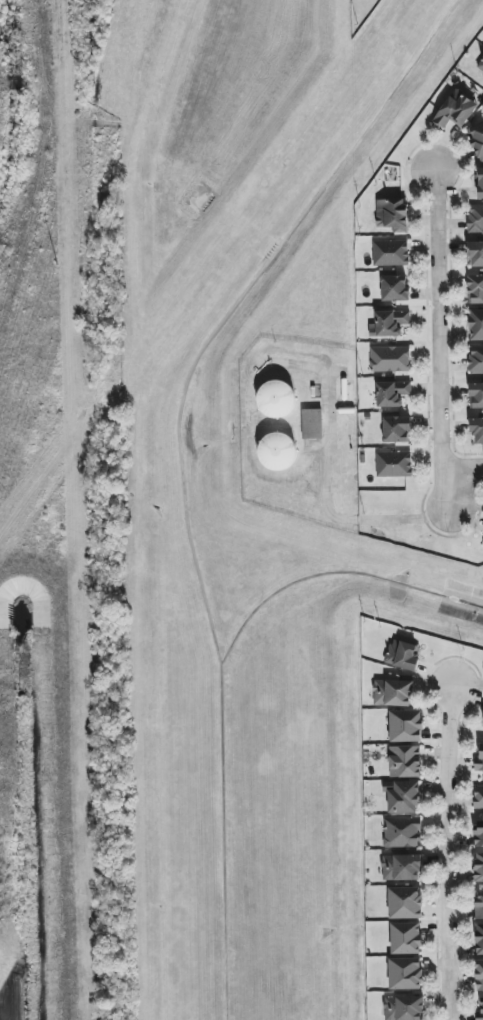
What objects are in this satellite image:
building: (480, 65)
building: (456, 110)
building: (477, 141)
building: (480, 183)
building: (392, 214)
building: (475, 218)
building: (390, 253)
building: (476, 254)
building: (394, 288)
building: (475, 290)
building: (389, 323)
building: (476, 325)
road: (437, 341)
building: (390, 359)
building: (476, 359)
road: (307, 367)
building: (392, 393)
building: (476, 395)
building: (276, 399)
building: (312, 424)
building: (397, 430)
building: (477, 430)
building: (277, 452)
building: (394, 464)
road: (466, 467)
road: (325, 503)
building: (402, 654)
building: (393, 693)
building: (406, 726)
building: (405, 761)
building: (479, 761)
building: (478, 797)
building: (404, 798)
building: (402, 832)
building: (479, 832)
road: (444, 852)
building: (479, 867)
building: (401, 868)
building: (405, 903)
building: (478, 907)
building: (406, 938)
building: (479, 939)
building: (405, 974)
building: (479, 975)
building: (404, 1008)
building: (480, 1012)

